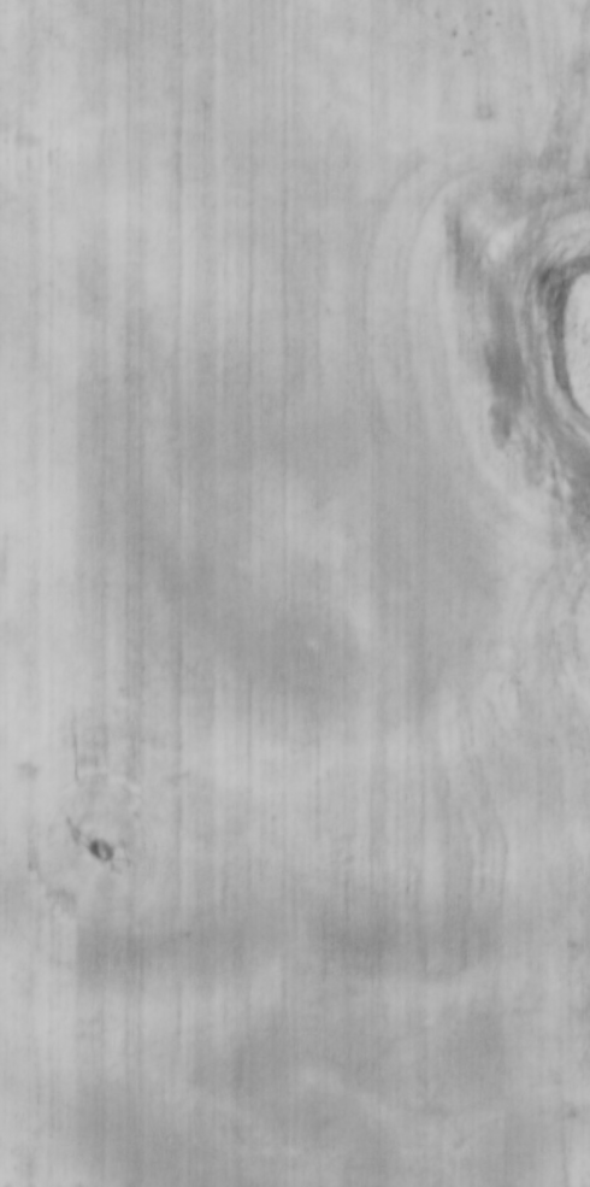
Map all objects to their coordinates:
power tower: (98, 851)

